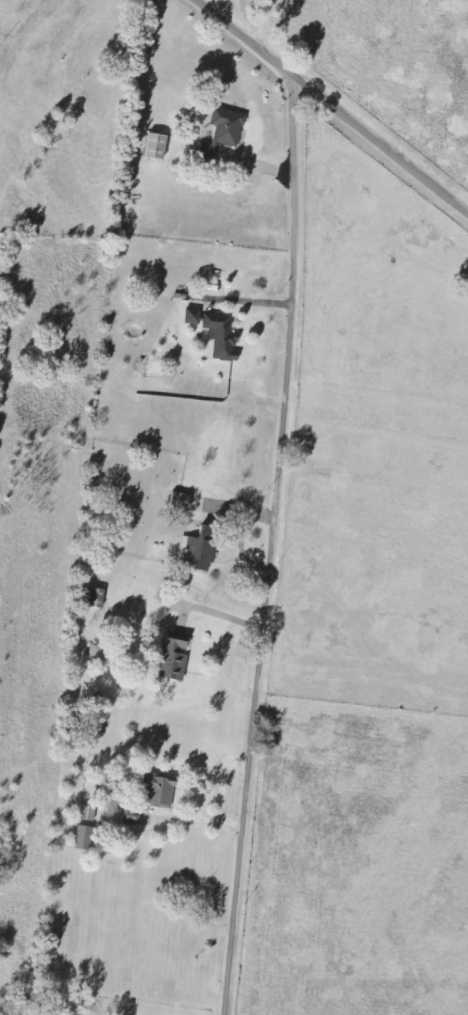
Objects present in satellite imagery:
road: (329, 108)
building: (224, 134)
building: (158, 147)
building: (217, 333)
building: (182, 501)
road: (267, 548)
building: (201, 549)
building: (99, 599)
building: (99, 653)
building: (174, 660)
building: (160, 790)
building: (88, 813)
building: (132, 815)
building: (85, 838)

